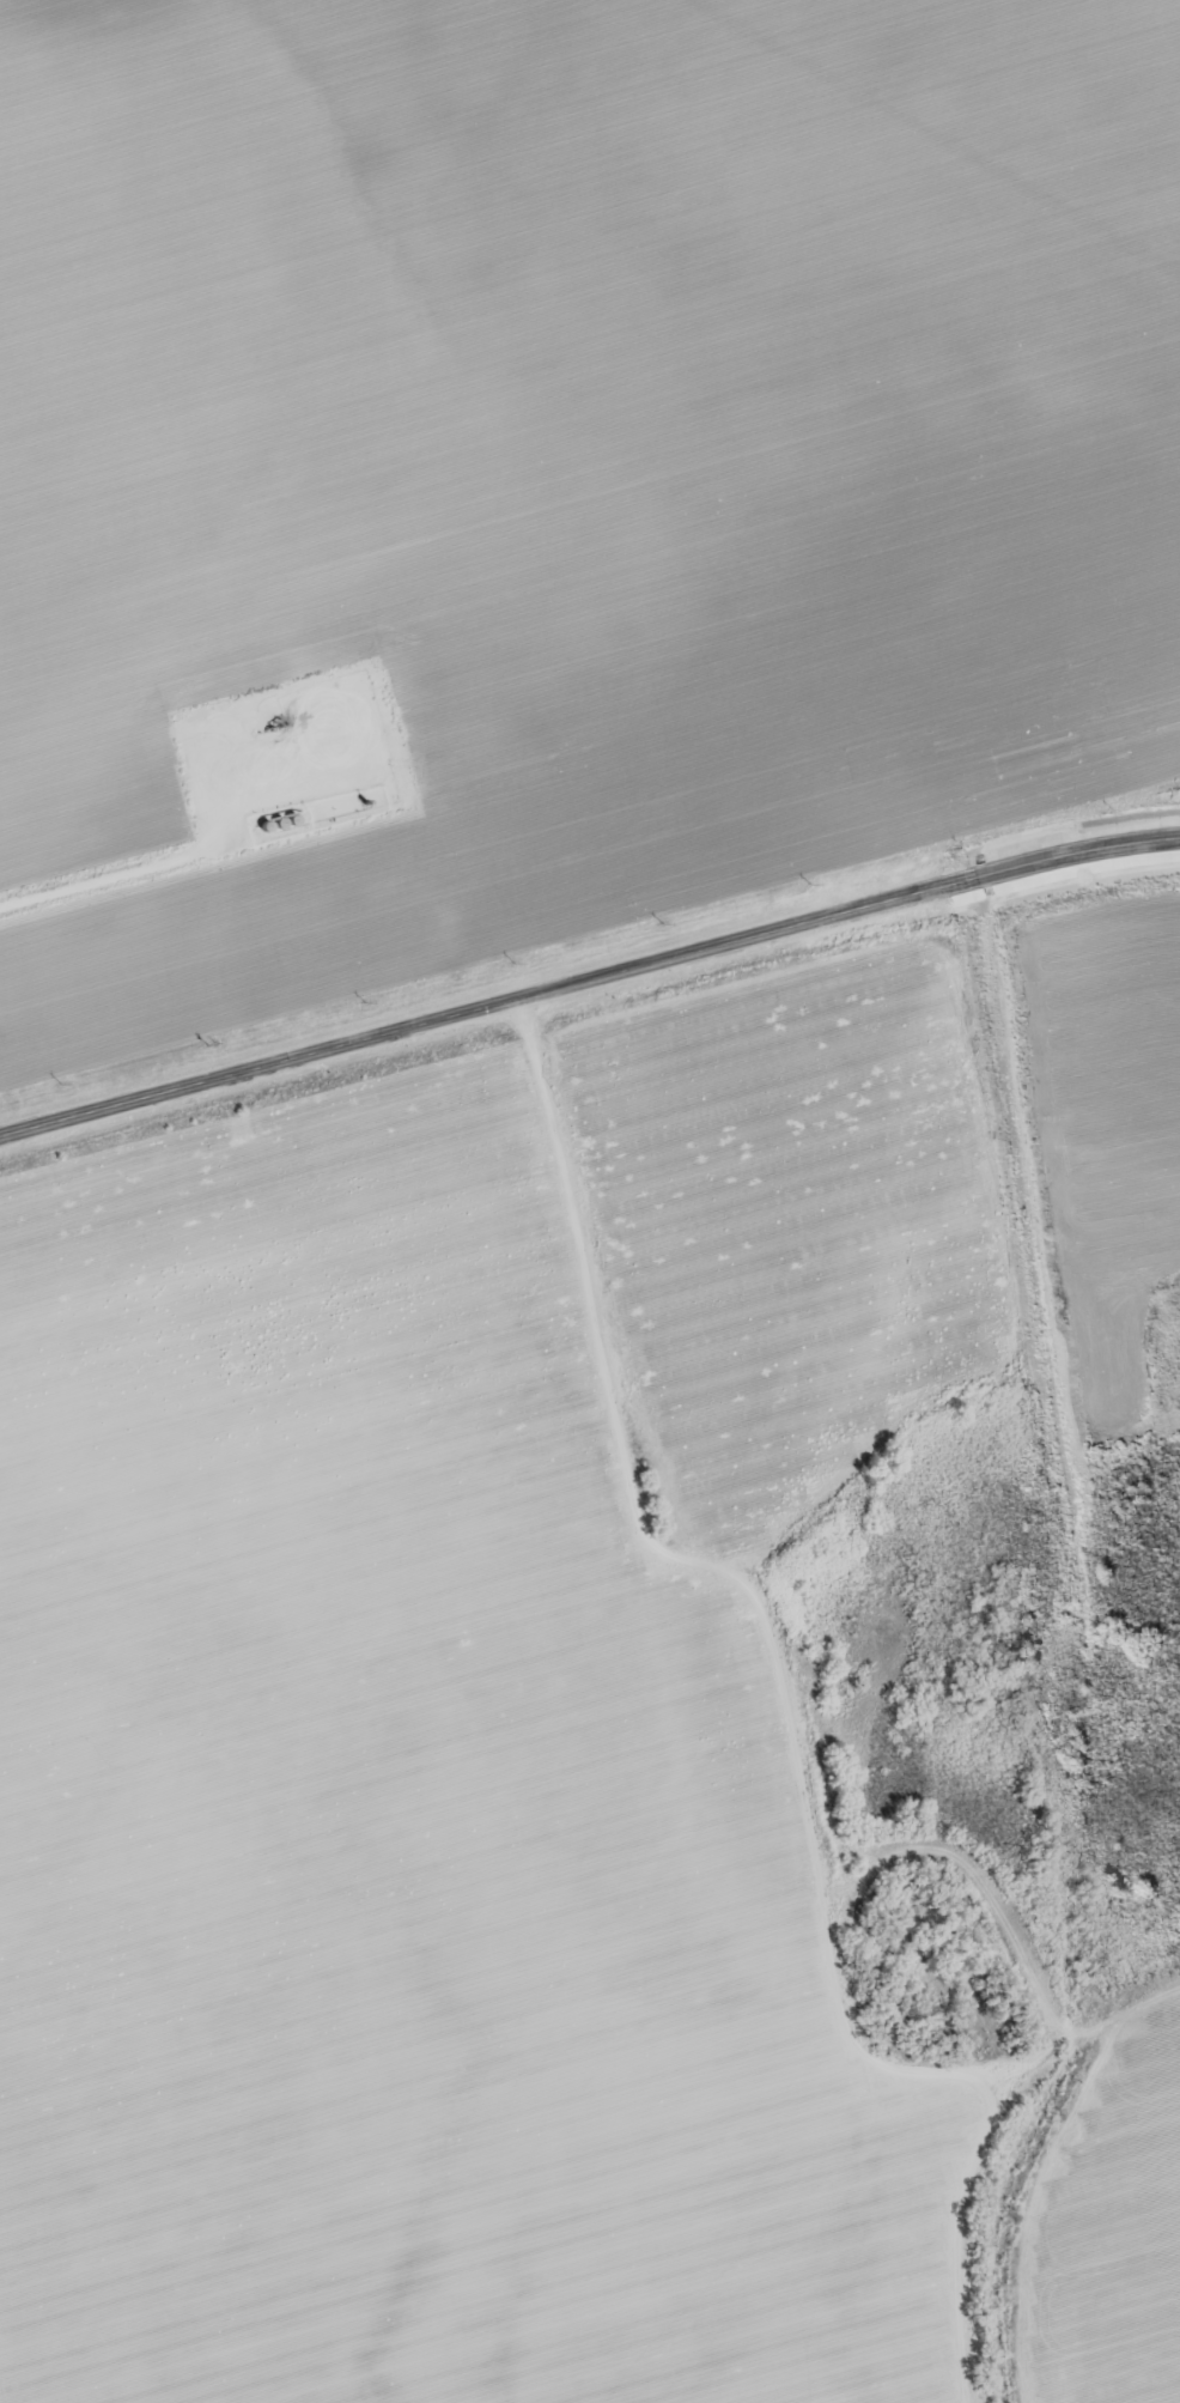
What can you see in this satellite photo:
road: (590, 991)
road: (689, 1663)

